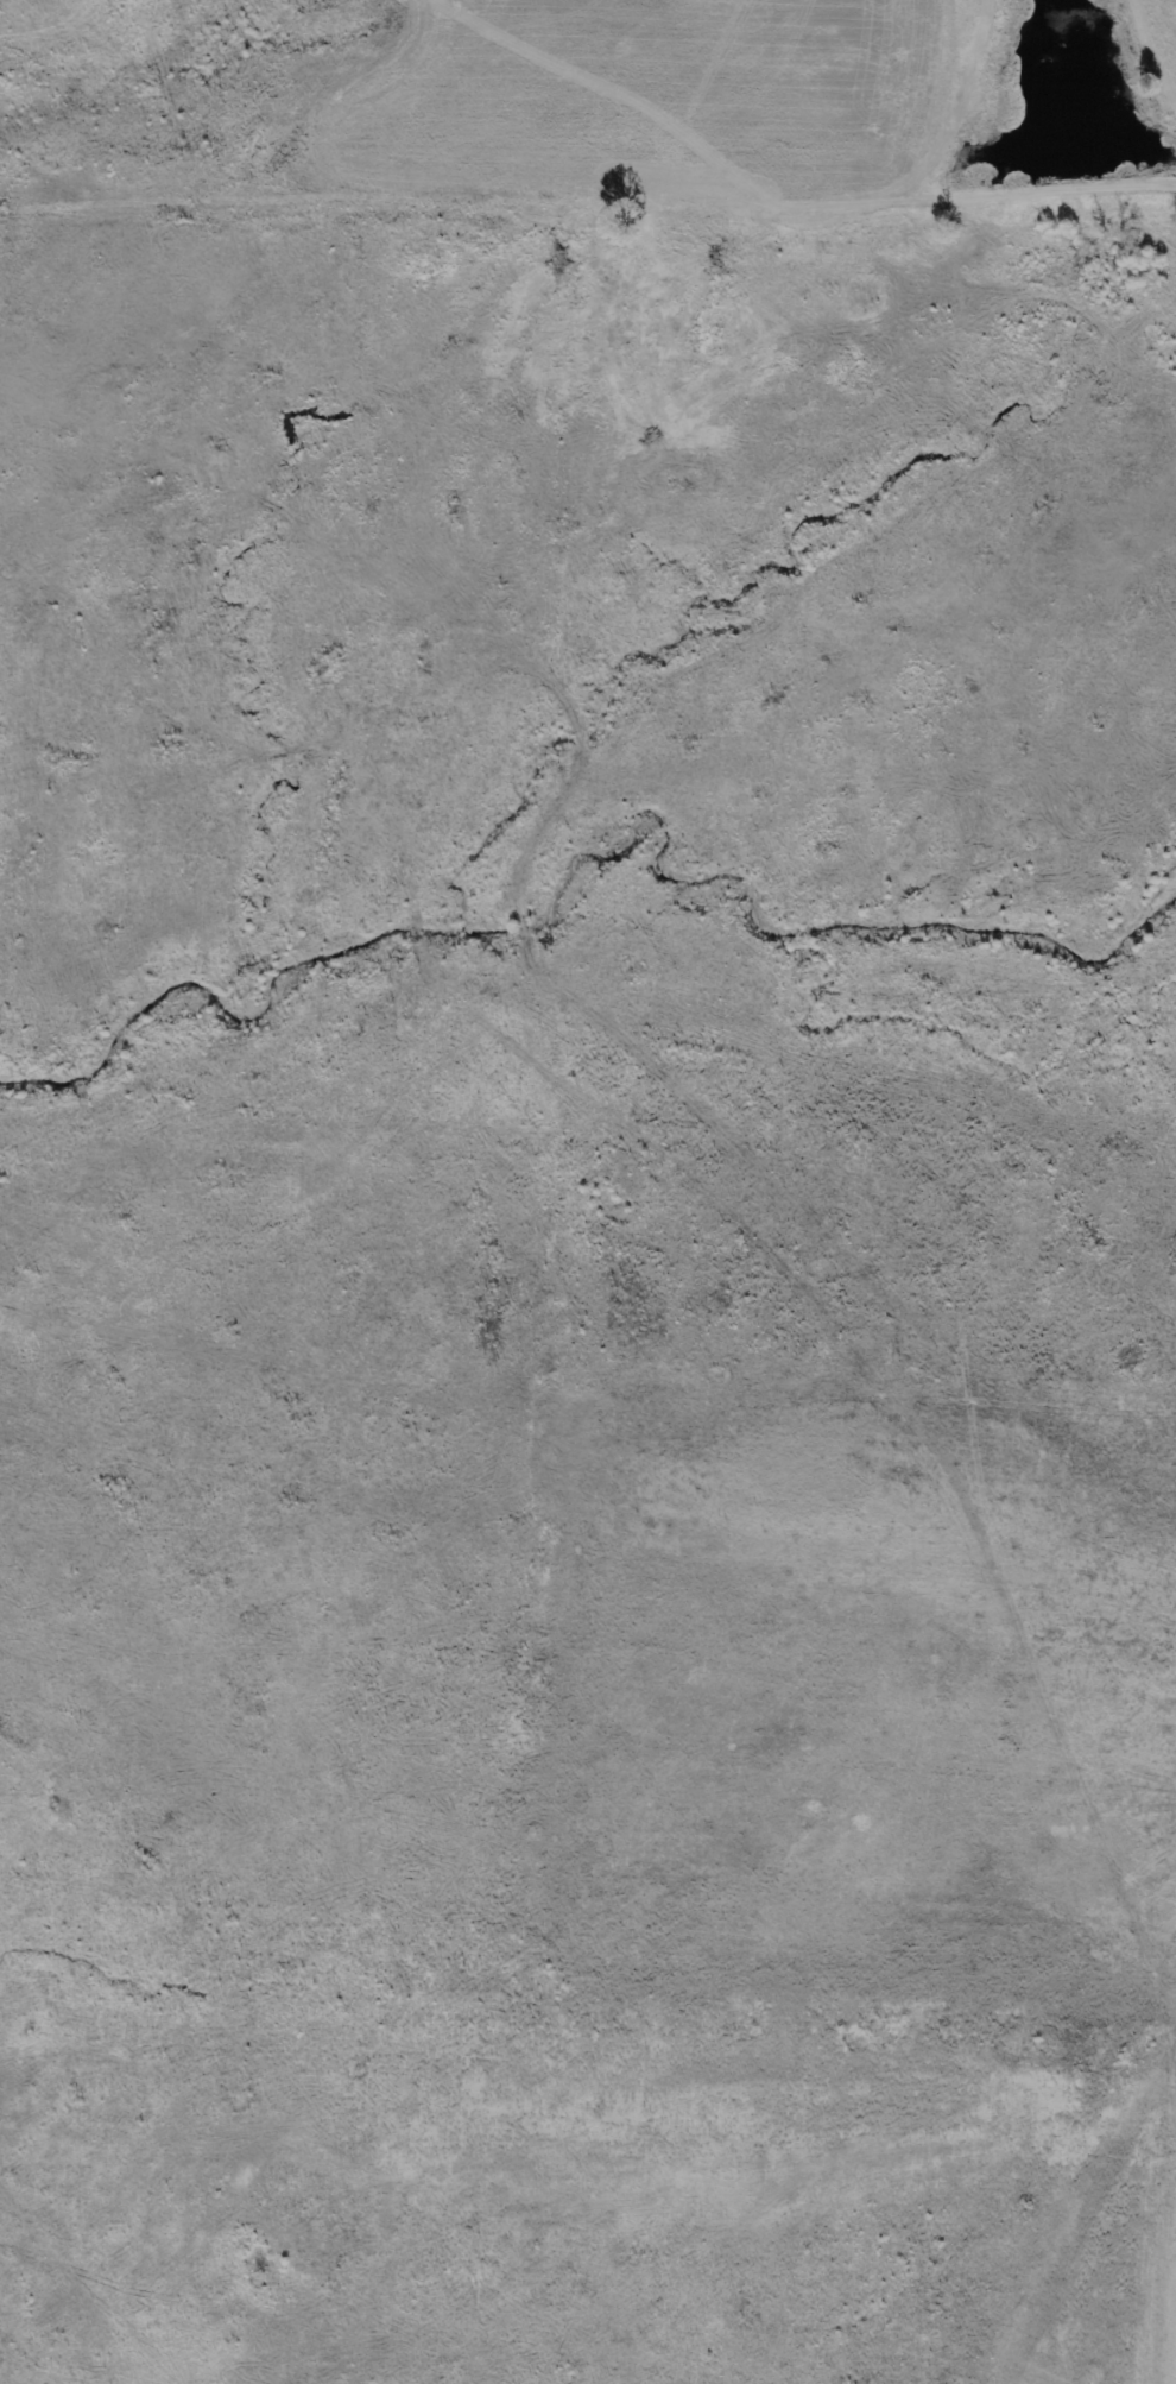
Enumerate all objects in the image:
road: (910, 2039)

